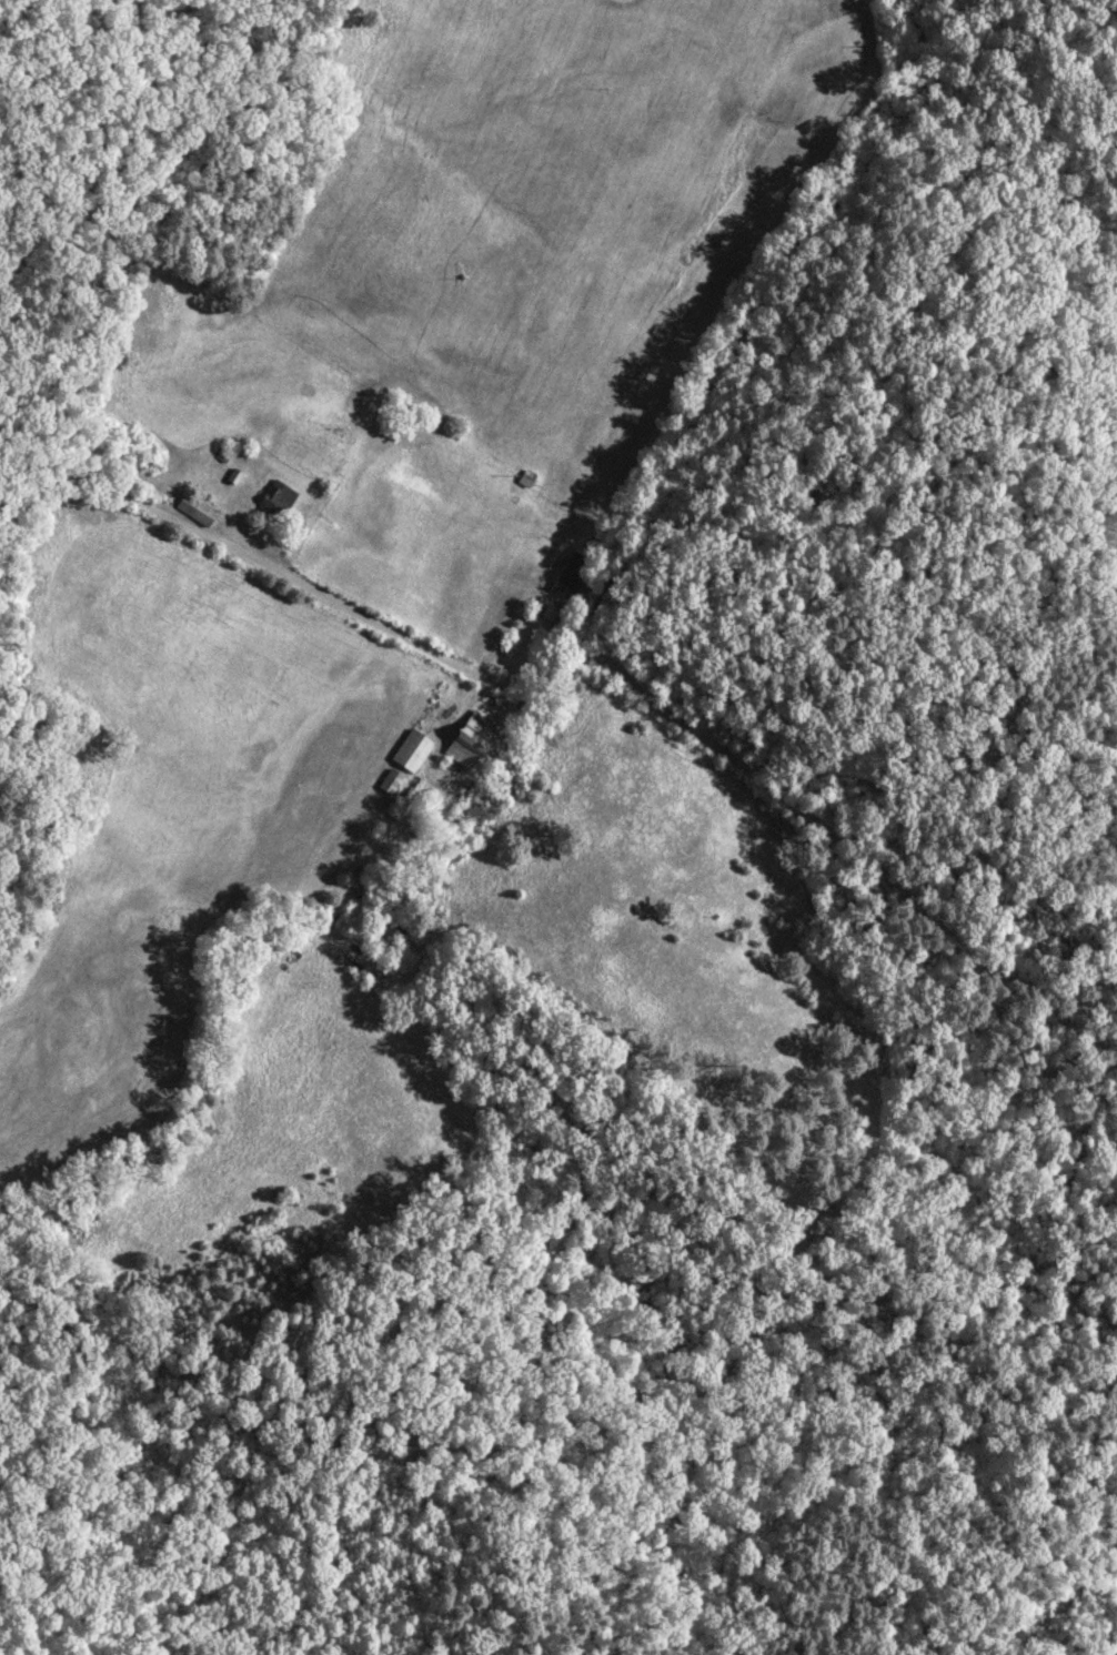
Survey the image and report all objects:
building: (288, 494)
road: (115, 495)
road: (695, 723)
building: (474, 736)
building: (416, 749)

